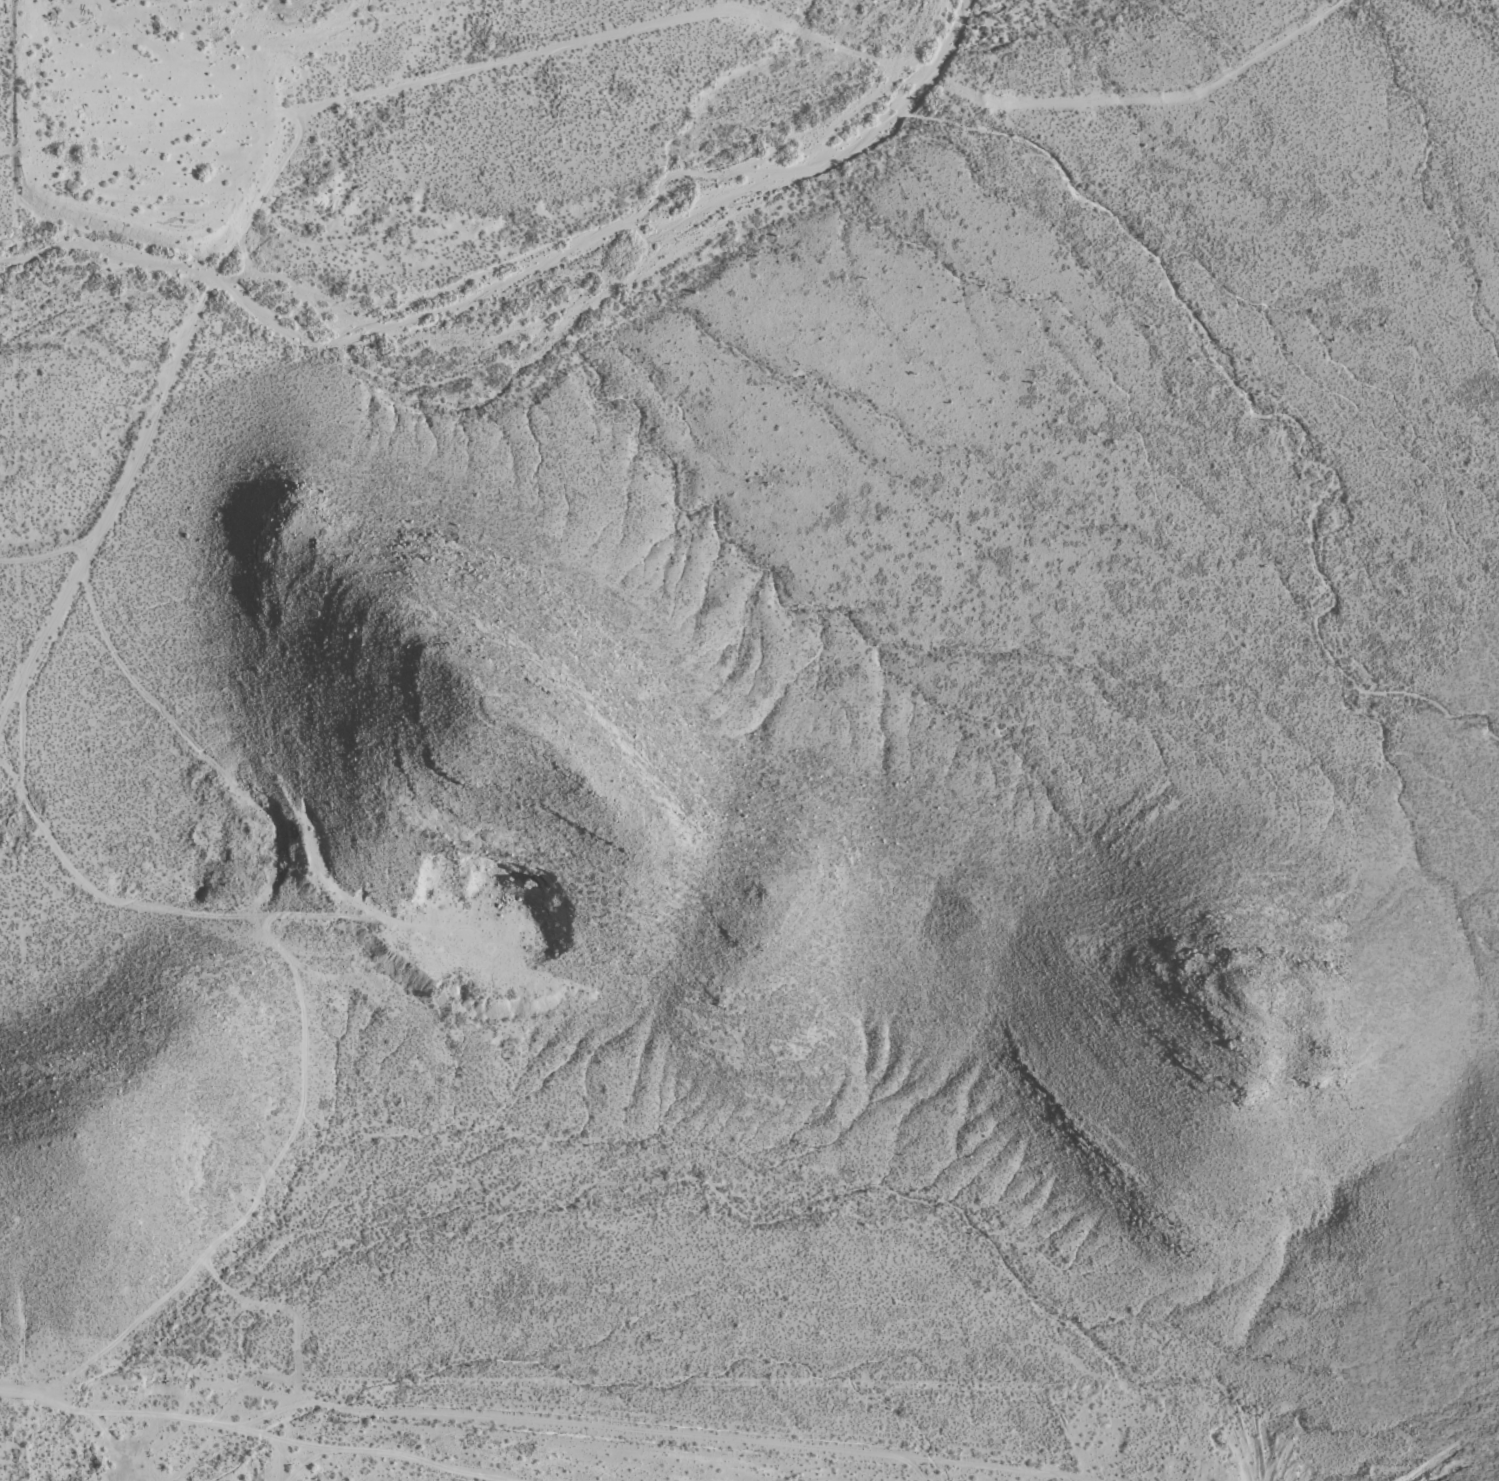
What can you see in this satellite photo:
road: (831, 49)
road: (151, 131)
road: (219, 267)
road: (29, 652)
road: (228, 770)
quarry: (480, 927)
road: (114, 1406)
road: (21, 1436)

